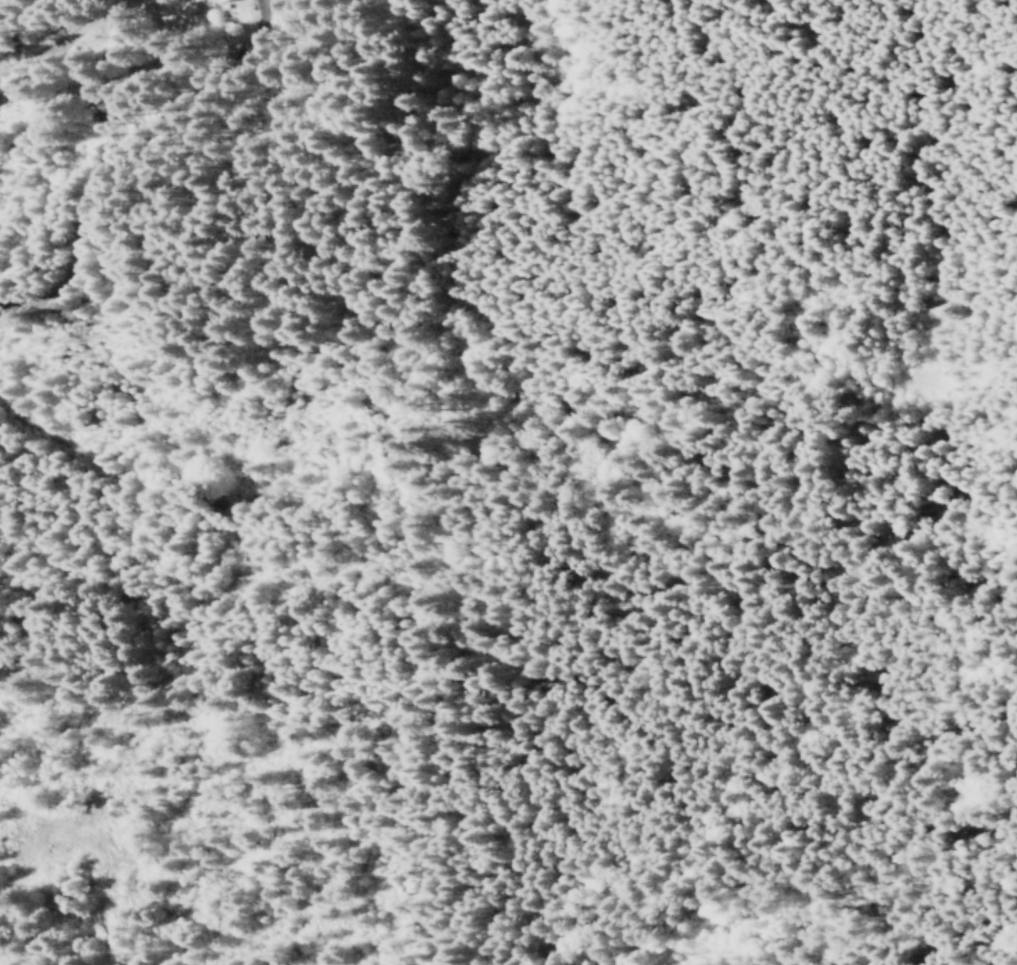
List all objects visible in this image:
building: (216, 0)

